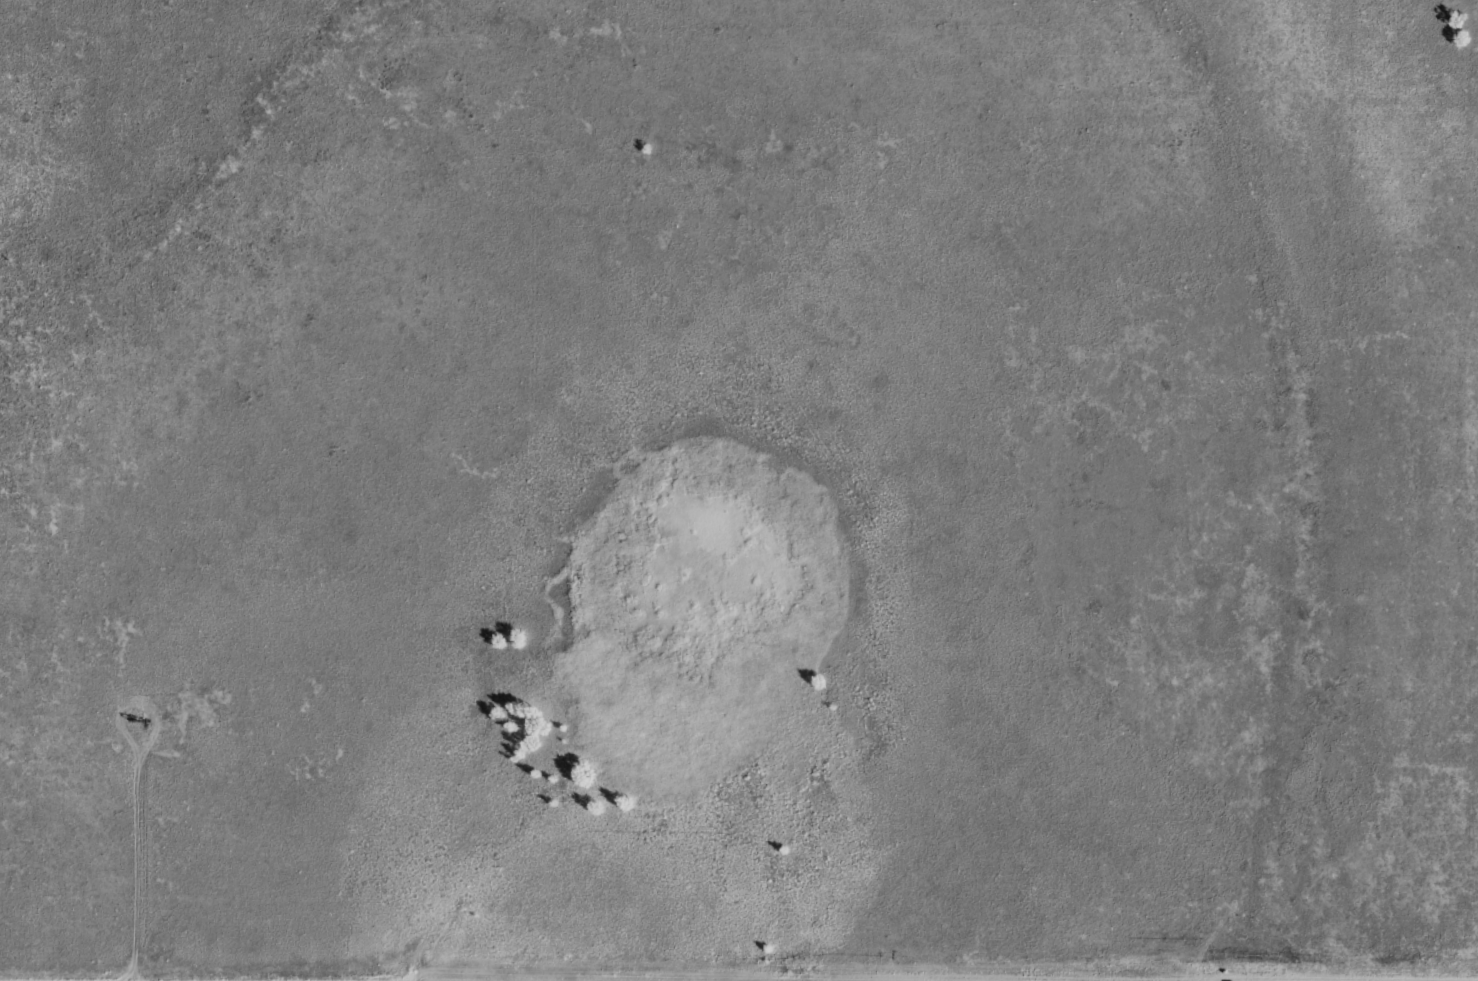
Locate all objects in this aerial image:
petroleum well: (143, 724)

